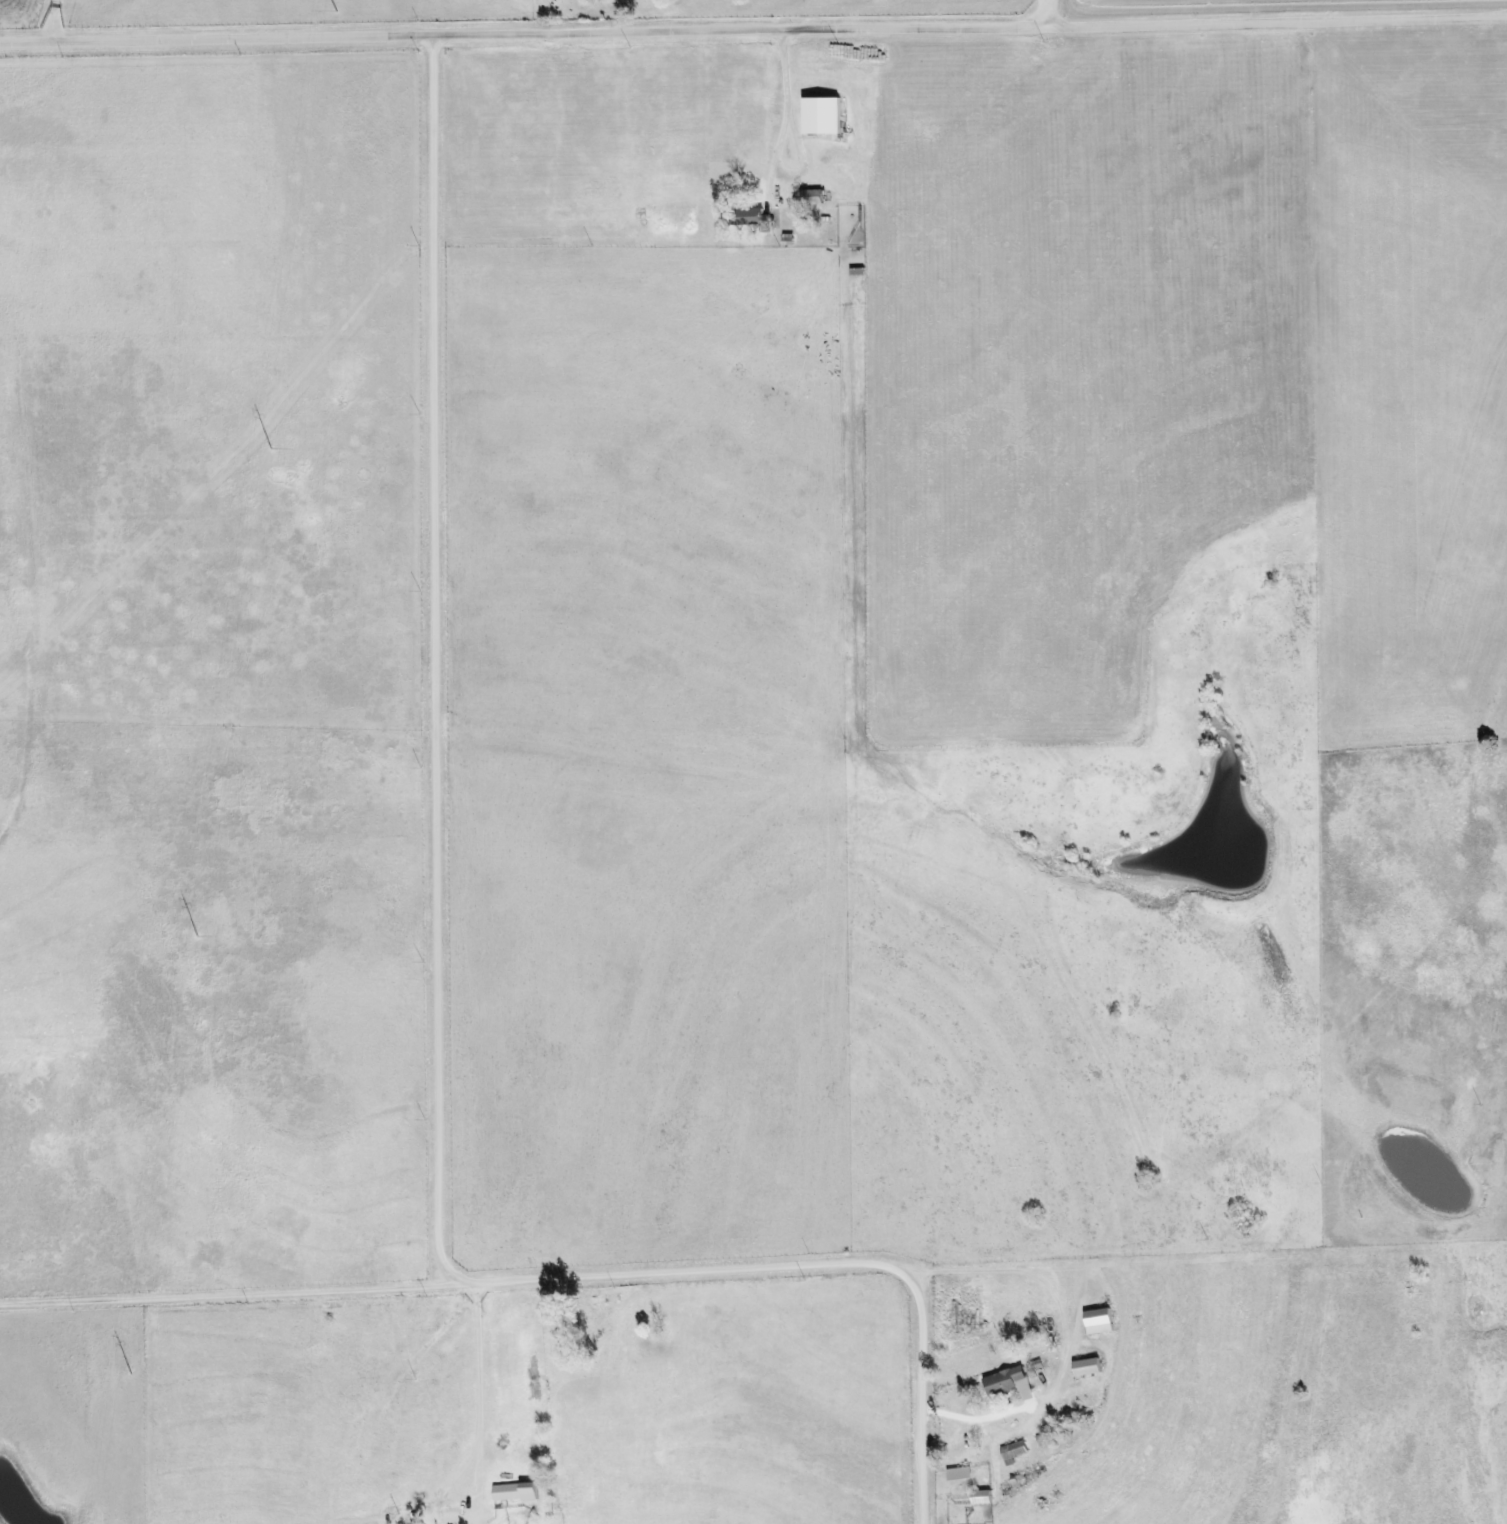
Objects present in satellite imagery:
road: (1440, 6)
power tower: (336, 12)
road: (1263, 16)
road: (50, 19)
road: (531, 31)
building: (821, 115)
building: (811, 197)
building: (748, 216)
power tower: (270, 450)
road: (441, 878)
power tower: (197, 937)
road: (798, 1264)
building: (1098, 1321)
building: (1086, 1367)
power tower: (130, 1375)
building: (1009, 1384)
building: (1012, 1451)
building: (959, 1474)
building: (515, 1492)

